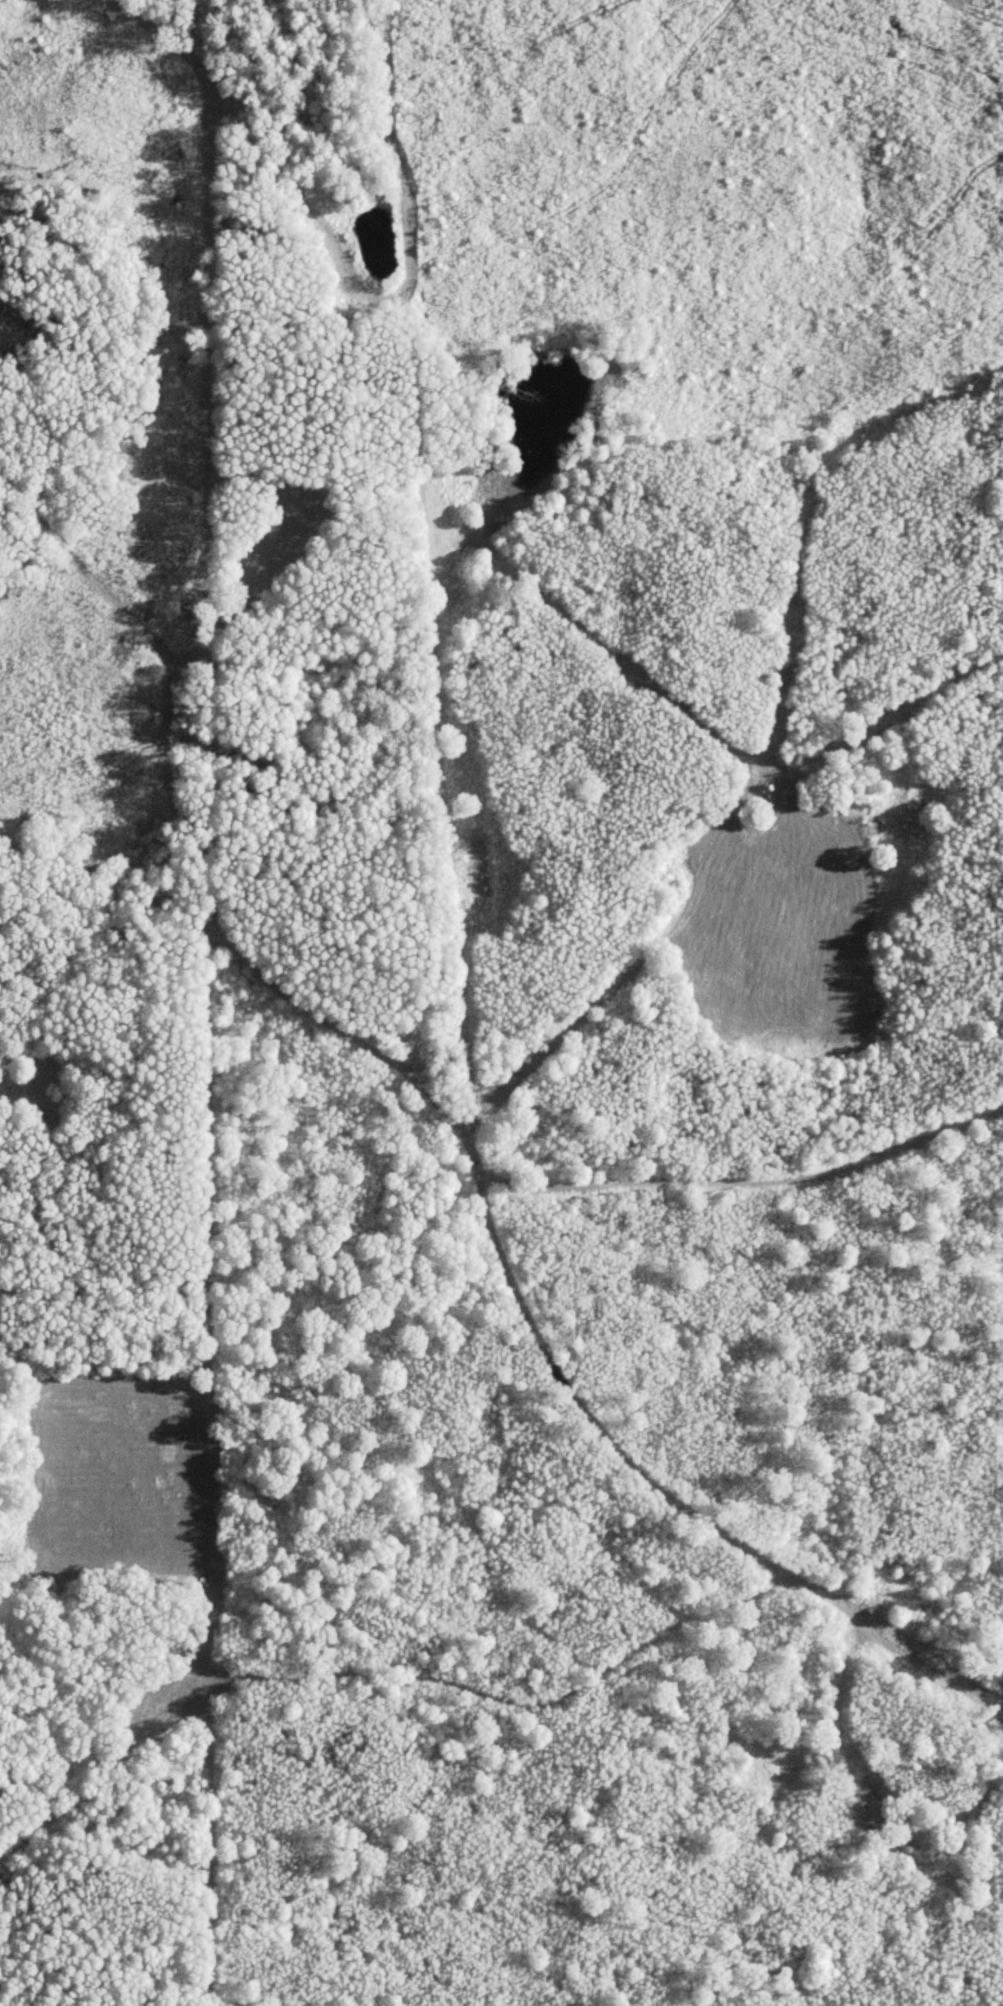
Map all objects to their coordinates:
road: (392, 142)
road: (265, 155)
road: (180, 842)
road: (594, 1424)
road: (903, 1655)
road: (990, 1707)

